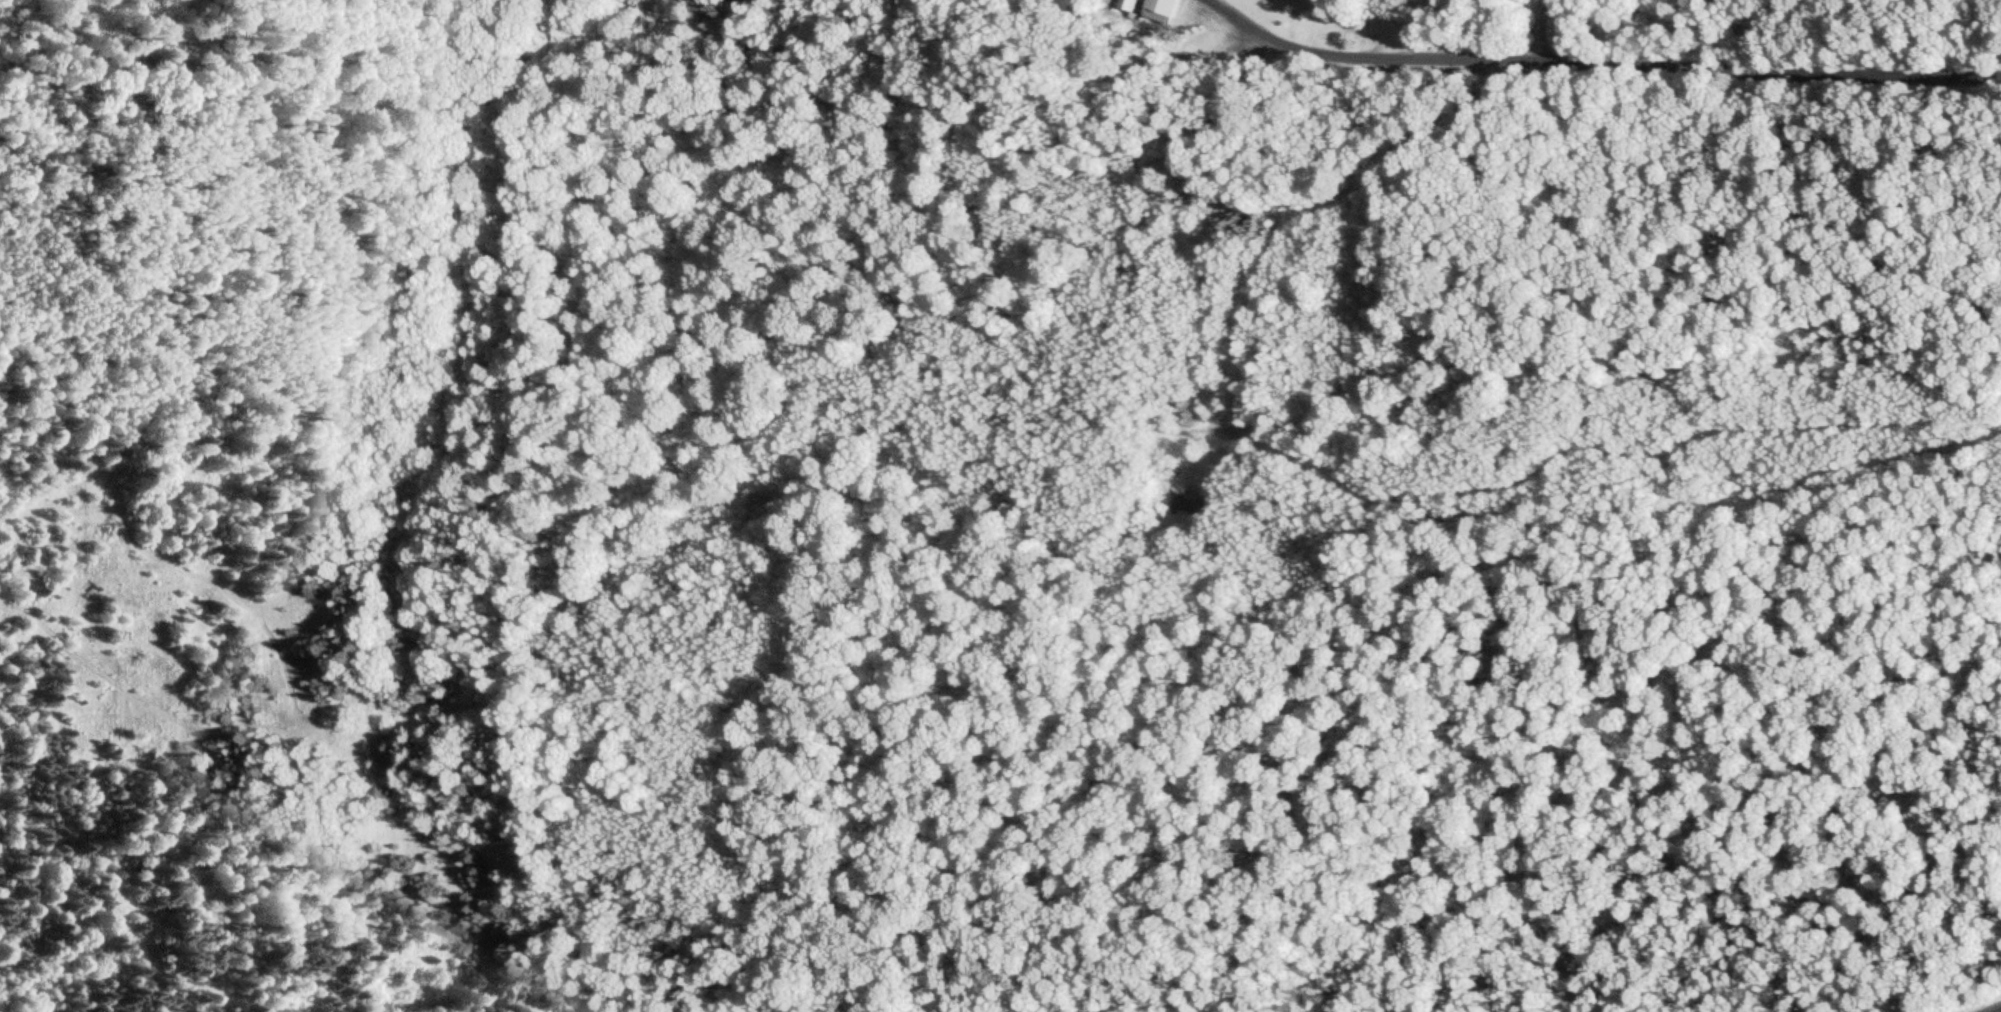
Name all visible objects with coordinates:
road: (1592, 55)

